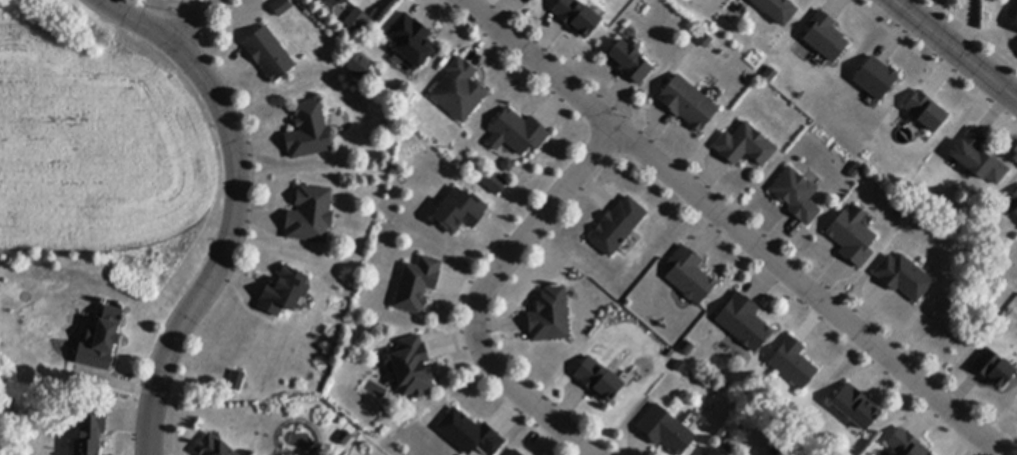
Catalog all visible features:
building: (344, 1)
building: (280, 6)
building: (776, 10)
building: (577, 17)
building: (353, 18)
road: (193, 22)
building: (1015, 22)
building: (825, 37)
building: (705, 41)
building: (412, 42)
road: (952, 52)
building: (269, 55)
building: (630, 62)
building: (359, 66)
building: (876, 79)
building: (459, 91)
building: (688, 104)
building: (924, 110)
building: (309, 132)
building: (516, 133)
building: (745, 146)
crop: (102, 154)
building: (979, 159)
building: (491, 180)
building: (796, 196)
building: (1014, 204)
road: (236, 208)
building: (459, 212)
building: (310, 216)
building: (617, 227)
road: (734, 227)
building: (852, 237)
building: (689, 276)
building: (903, 278)
building: (417, 286)
road: (480, 291)
building: (284, 292)
building: (550, 317)
building: (744, 323)
building: (102, 342)
building: (687, 349)
building: (793, 364)
building: (411, 368)
building: (994, 369)
building: (236, 381)
building: (599, 381)
building: (855, 408)
building: (687, 417)
building: (90, 431)
building: (666, 431)
building: (470, 434)
building: (906, 444)
building: (212, 447)
building: (515, 453)
building: (714, 453)

